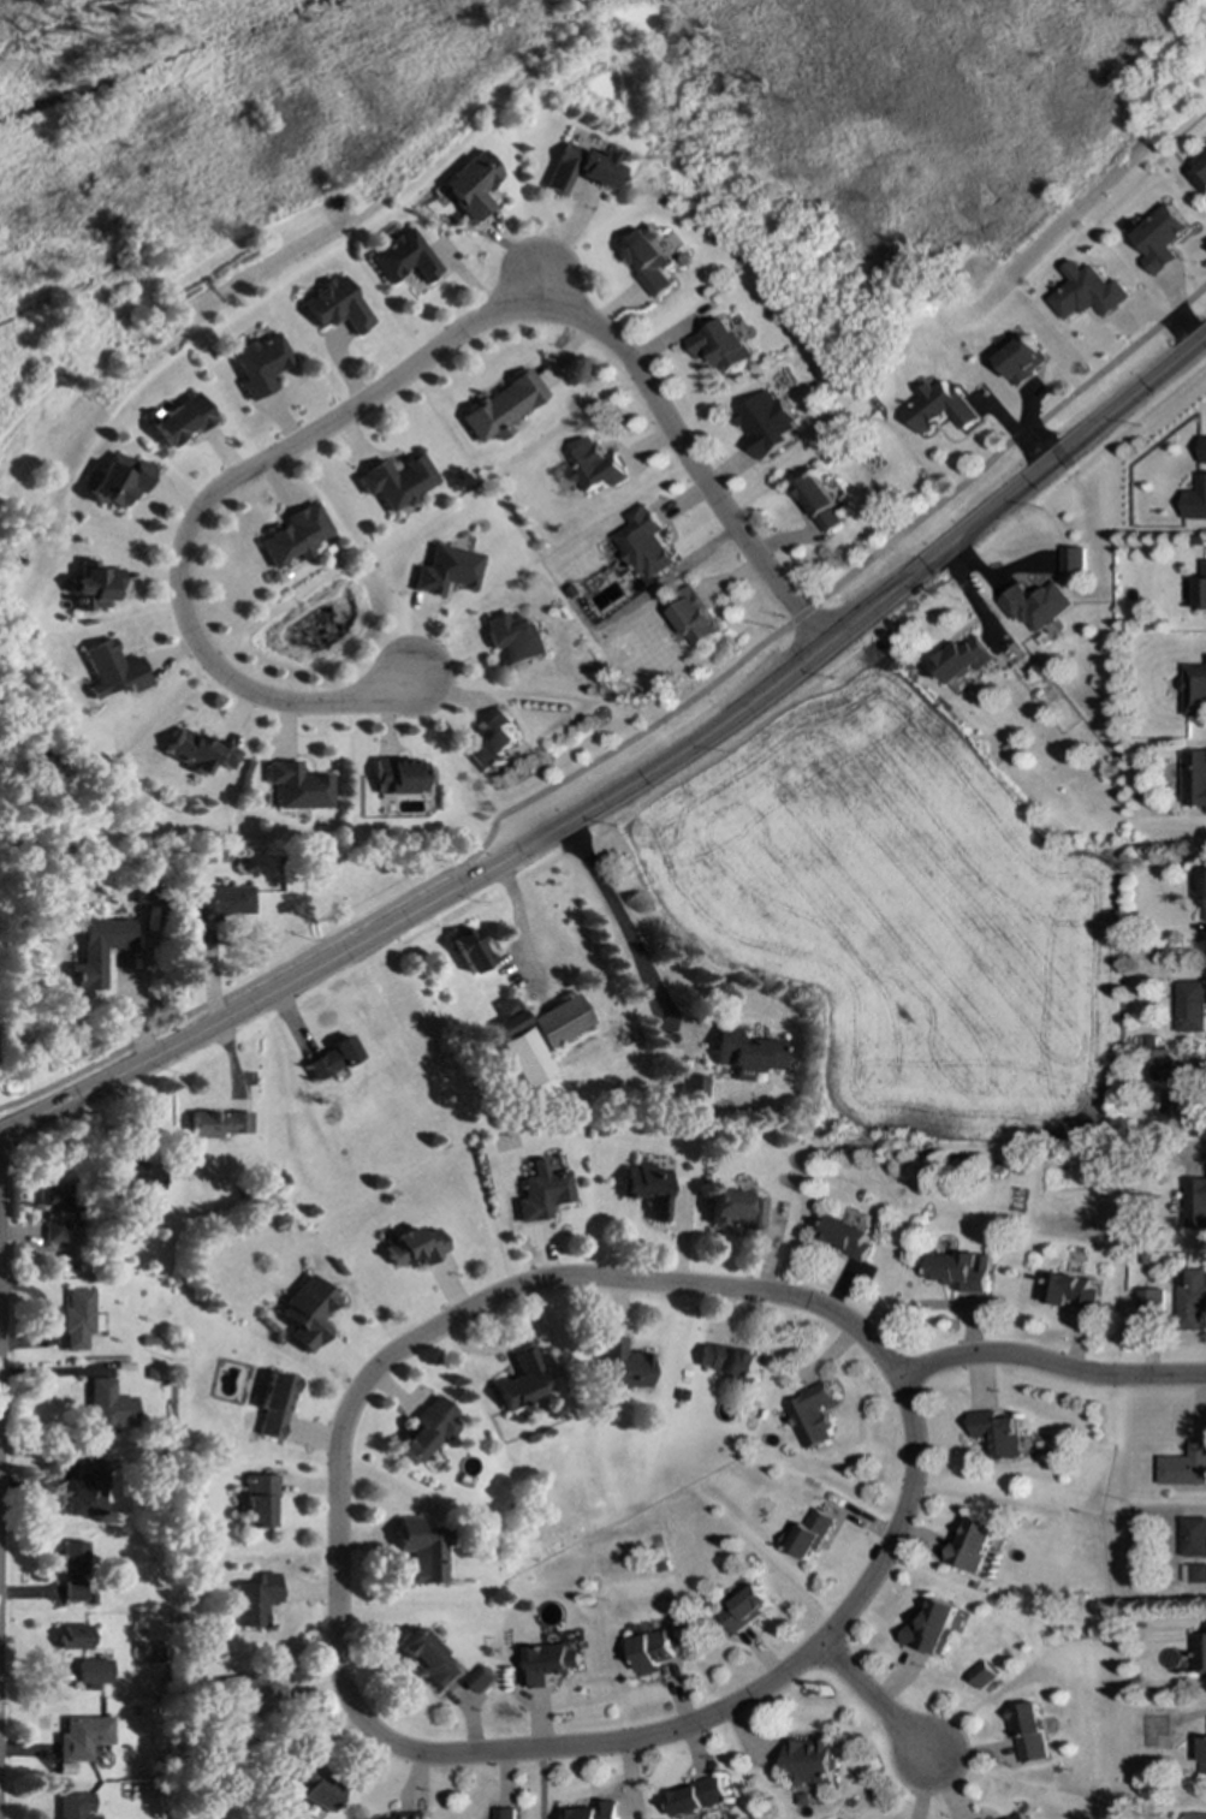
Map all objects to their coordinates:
building: (581, 168)
building: (1199, 173)
building: (471, 185)
building: (1160, 239)
building: (402, 257)
building: (647, 260)
building: (1088, 293)
building: (334, 305)
building: (720, 345)
building: (1023, 359)
building: (259, 365)
road: (399, 376)
building: (500, 408)
building: (943, 409)
building: (178, 418)
building: (767, 424)
building: (595, 465)
building: (118, 480)
building: (396, 482)
building: (1195, 500)
building: (820, 503)
building: (293, 536)
building: (644, 543)
building: (1073, 561)
building: (444, 570)
building: (91, 585)
building: (1201, 590)
building: (1035, 606)
building: (696, 618)
building: (515, 638)
building: (963, 659)
building: (109, 670)
building: (1194, 691)
road: (629, 738)
building: (492, 742)
building: (197, 751)
building: (397, 775)
building: (1193, 779)
road: (635, 784)
building: (296, 786)
road: (464, 872)
building: (142, 890)
building: (1204, 892)
building: (219, 902)
crop: (904, 916)
road: (628, 931)
building: (96, 950)
building: (467, 950)
building: (1190, 1006)
building: (507, 1016)
building: (557, 1021)
building: (744, 1053)
building: (329, 1058)
building: (523, 1058)
building: (1160, 1065)
building: (690, 1088)
building: (1190, 1099)
building: (215, 1124)
building: (139, 1176)
building: (646, 1188)
building: (540, 1193)
building: (53, 1197)
building: (1196, 1201)
building: (735, 1209)
building: (53, 1231)
building: (846, 1237)
building: (412, 1247)
building: (961, 1271)
building: (1070, 1291)
building: (1192, 1300)
building: (1151, 1303)
building: (305, 1313)
building: (77, 1319)
building: (727, 1361)
building: (620, 1366)
road: (1050, 1366)
building: (521, 1380)
building: (274, 1407)
building: (107, 1408)
building: (813, 1416)
building: (426, 1429)
building: (997, 1433)
building: (1184, 1467)
building: (85, 1490)
building: (259, 1500)
building: (807, 1535)
building: (1193, 1538)
building: (972, 1544)
building: (421, 1552)
building: (72, 1569)
building: (1198, 1574)
building: (253, 1600)
building: (745, 1610)
building: (1205, 1625)
building: (932, 1628)
building: (73, 1636)
road: (338, 1647)
building: (652, 1652)
building: (1199, 1652)
building: (429, 1660)
building: (545, 1665)
building: (75, 1671)
building: (982, 1675)
building: (481, 1680)
building: (253, 1694)
road: (869, 1699)
building: (1028, 1734)
building: (82, 1737)
building: (1204, 1756)
building: (810, 1761)
road: (541, 1784)
building: (309, 1785)
building: (697, 1797)
building: (75, 1806)
building: (593, 1812)
building: (505, 1814)
building: (1018, 1815)
building: (1195, 1815)
building: (398, 1817)

